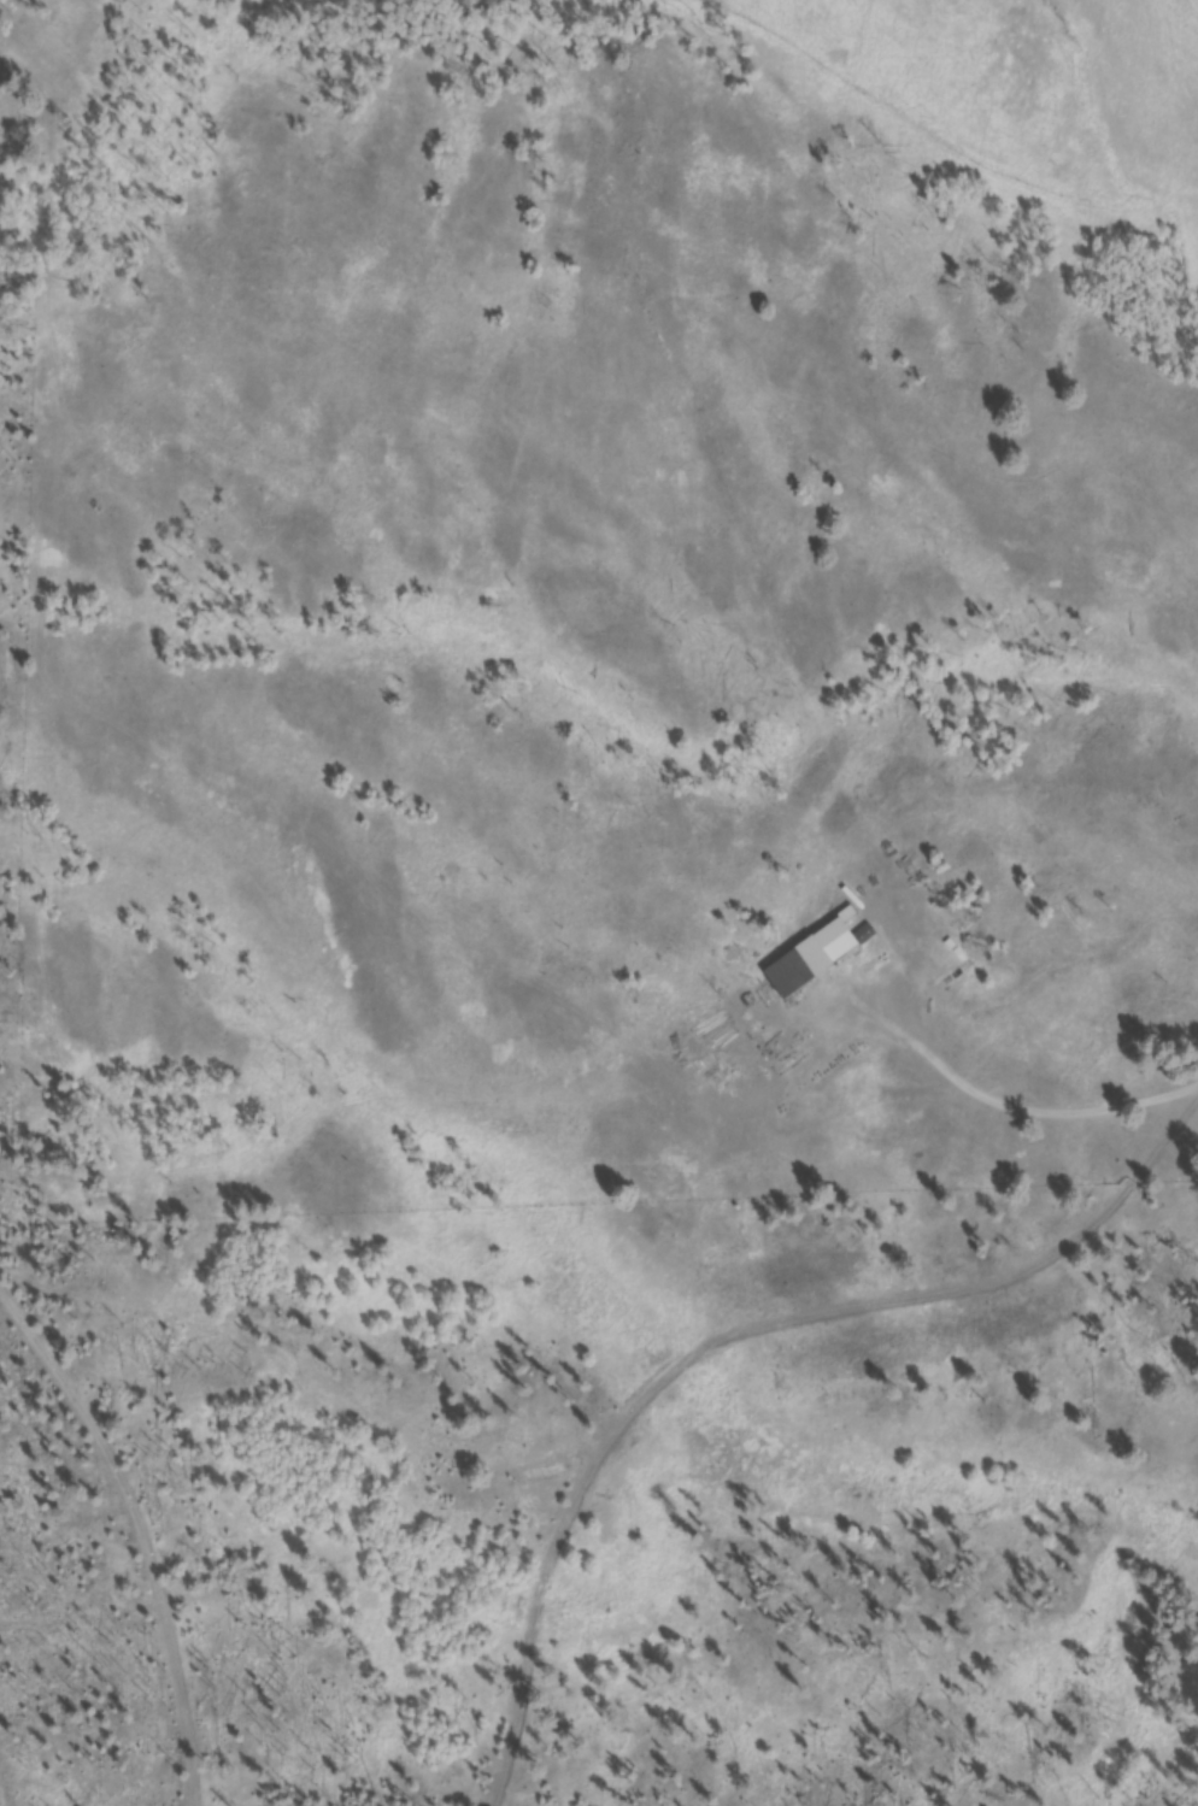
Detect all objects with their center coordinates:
building: (814, 966)

